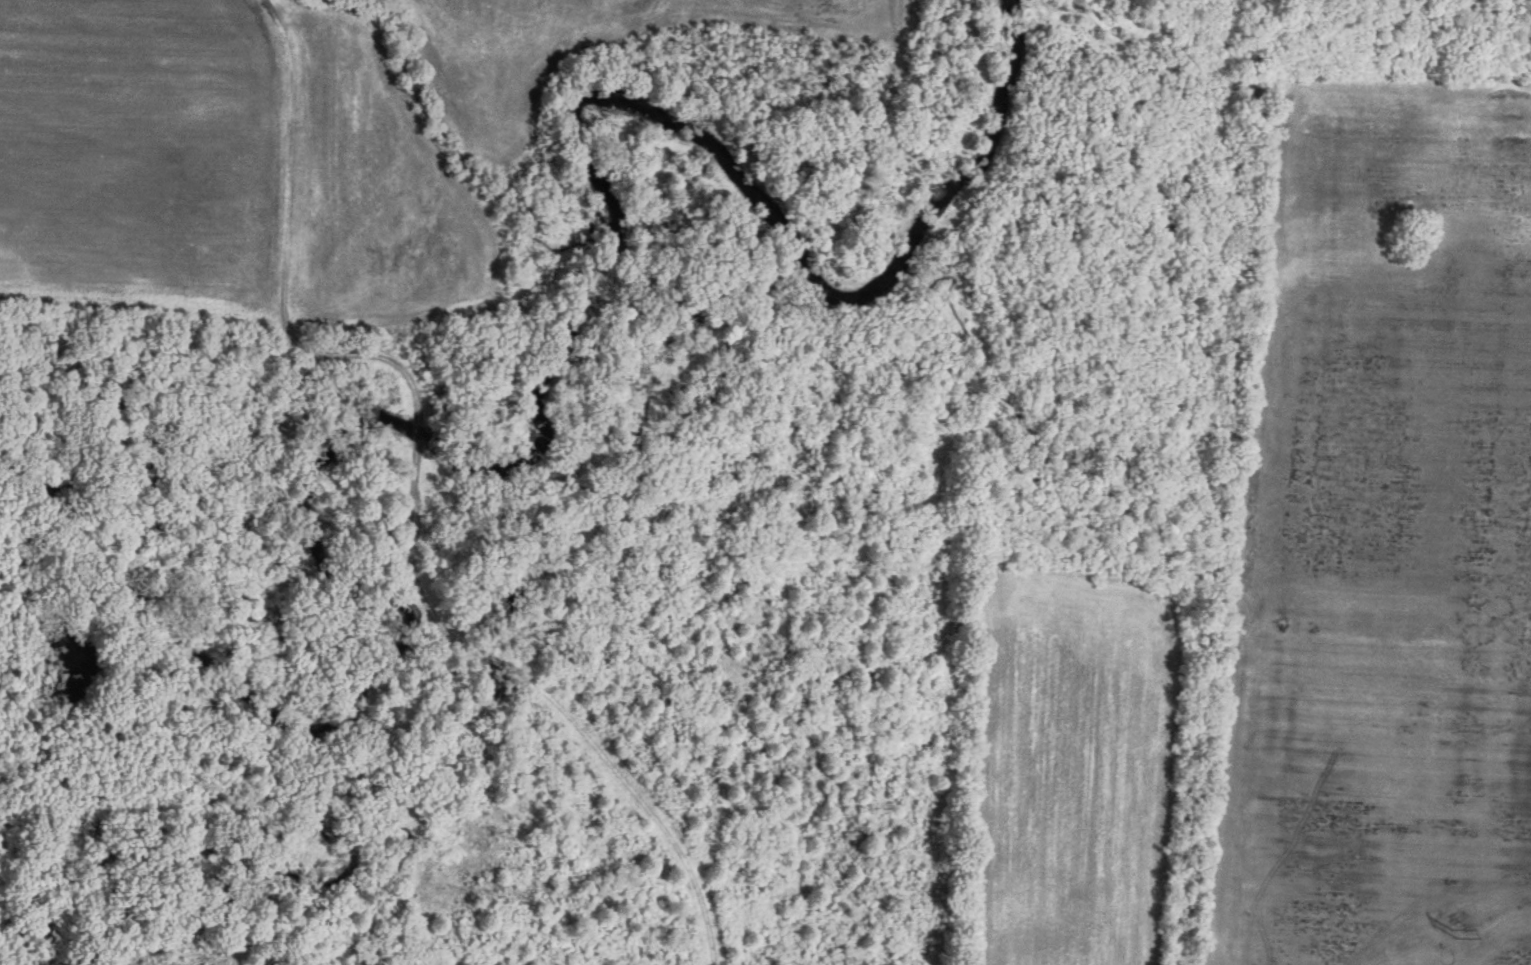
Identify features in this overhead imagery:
road: (1195, 481)
power tower: (1461, 942)

